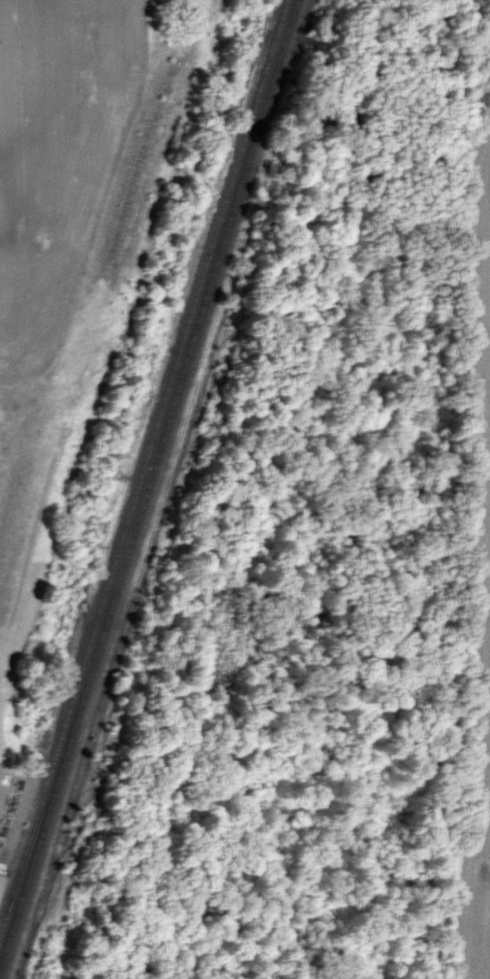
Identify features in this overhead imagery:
railway: (145, 475)
building: (1, 875)

